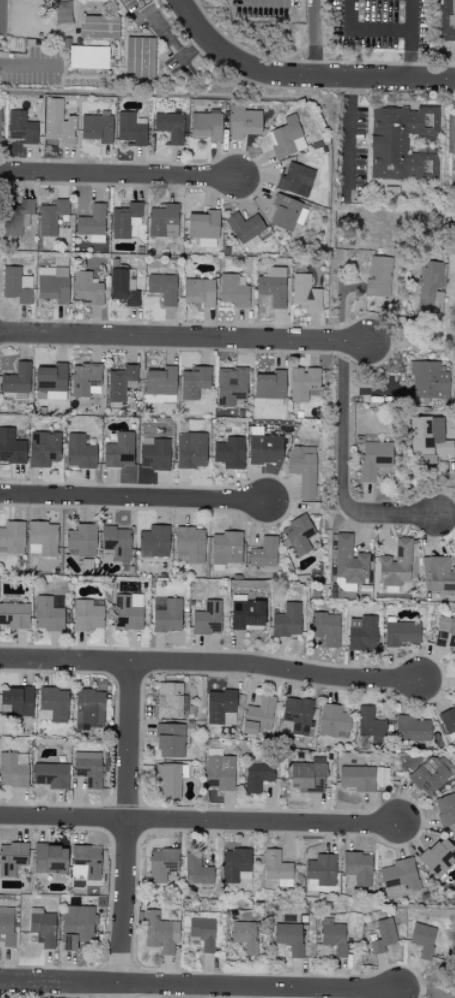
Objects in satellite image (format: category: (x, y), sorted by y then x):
road: (255, 0)
building: (62, 13)
road: (412, 15)
building: (446, 20)
building: (98, 27)
road: (366, 30)
road: (313, 38)
road: (172, 43)
road: (413, 55)
building: (88, 57)
building: (139, 58)
road: (29, 68)
road: (302, 75)
building: (0, 119)
building: (243, 122)
building: (57, 123)
building: (205, 126)
building: (169, 127)
building: (21, 128)
building: (96, 128)
building: (129, 129)
road: (452, 134)
road: (346, 135)
building: (286, 138)
building: (398, 141)
road: (121, 175)
building: (295, 180)
building: (286, 213)
building: (16, 217)
building: (50, 217)
building: (125, 220)
building: (163, 221)
building: (92, 224)
building: (203, 228)
building: (245, 231)
building: (25, 282)
building: (52, 284)
building: (429, 285)
building: (14, 286)
building: (272, 286)
building: (122, 288)
building: (162, 288)
building: (87, 289)
building: (232, 291)
building: (199, 292)
building: (305, 293)
road: (344, 317)
road: (429, 332)
road: (184, 337)
building: (16, 380)
building: (50, 380)
building: (85, 381)
building: (428, 381)
building: (160, 382)
building: (194, 382)
building: (120, 383)
building: (303, 384)
building: (230, 386)
building: (269, 388)
building: (263, 447)
building: (11, 448)
building: (43, 449)
building: (190, 450)
building: (119, 451)
building: (79, 453)
building: (229, 453)
building: (154, 454)
building: (373, 459)
building: (303, 469)
road: (344, 471)
road: (133, 497)
building: (298, 535)
building: (12, 538)
building: (42, 539)
building: (81, 541)
building: (155, 541)
building: (115, 543)
building: (189, 544)
building: (225, 550)
building: (263, 553)
building: (349, 561)
building: (395, 564)
building: (438, 575)
building: (127, 612)
building: (246, 614)
building: (47, 615)
building: (87, 615)
building: (14, 616)
building: (167, 617)
building: (207, 619)
building: (286, 621)
building: (325, 629)
building: (445, 632)
building: (360, 633)
building: (400, 633)
road: (209, 664)
building: (169, 700)
building: (16, 702)
building: (220, 708)
building: (89, 710)
building: (257, 716)
building: (297, 716)
building: (447, 720)
building: (333, 722)
building: (369, 723)
building: (411, 729)
building: (169, 741)
building: (88, 769)
building: (13, 770)
building: (218, 771)
building: (50, 776)
building: (307, 776)
building: (428, 776)
building: (256, 777)
building: (363, 778)
building: (168, 782)
building: (445, 809)
road: (199, 820)
road: (127, 829)
building: (12, 858)
building: (438, 858)
building: (49, 859)
building: (85, 863)
building: (161, 864)
building: (235, 866)
building: (275, 866)
building: (357, 868)
building: (196, 870)
building: (321, 870)
building: (400, 875)
building: (6, 926)
building: (77, 926)
building: (42, 927)
building: (159, 933)
building: (202, 933)
building: (244, 936)
building: (382, 936)
building: (289, 938)
building: (334, 938)
building: (422, 939)
road: (199, 986)
road: (421, 990)
road: (289, 993)

